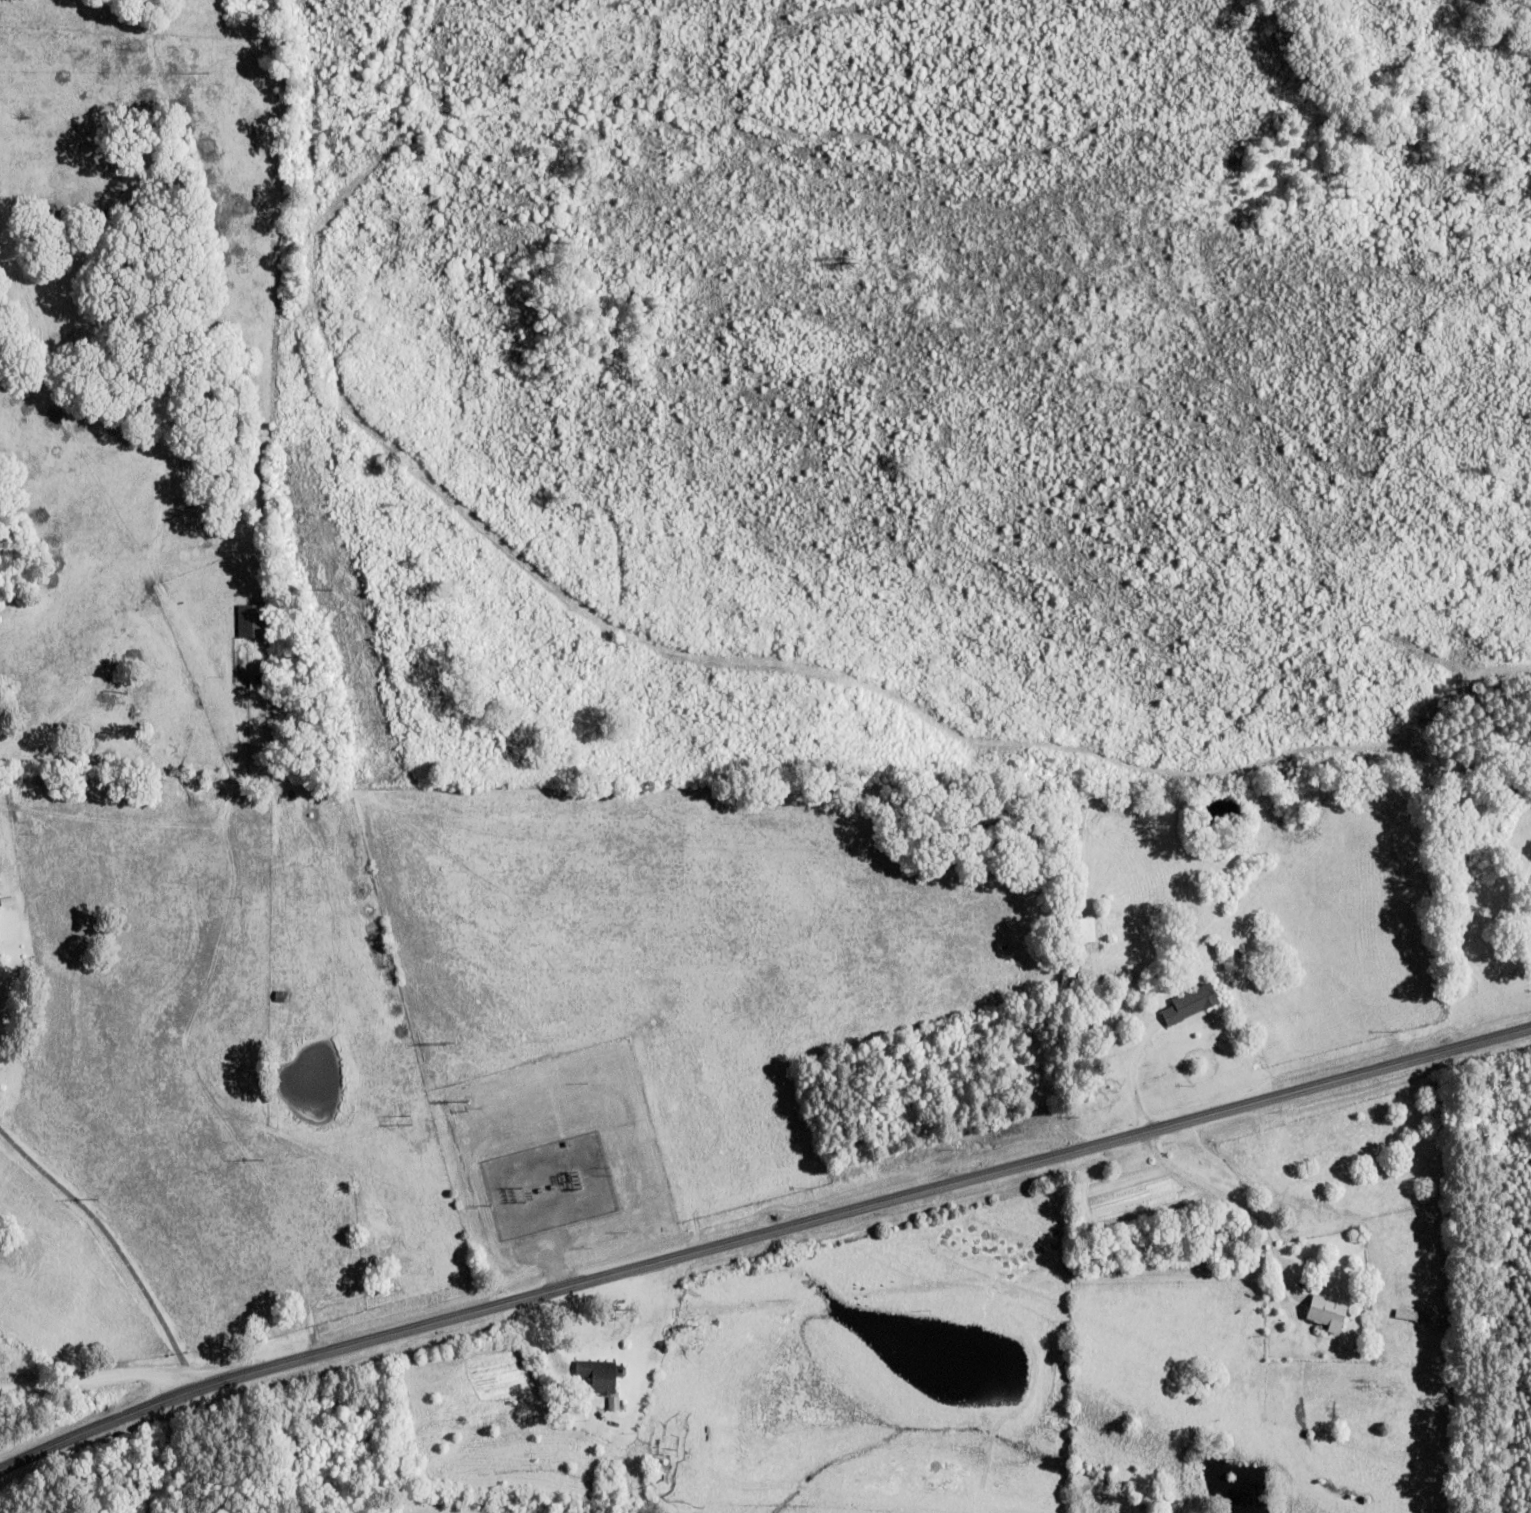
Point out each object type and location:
building: (250, 621)
building: (1080, 929)
building: (279, 996)
building: (1188, 1002)
building: (1007, 1112)
power substation: (553, 1182)
road: (760, 1232)
road: (114, 1245)
building: (1324, 1311)
building: (1427, 1317)
building: (597, 1374)
road: (99, 1376)

